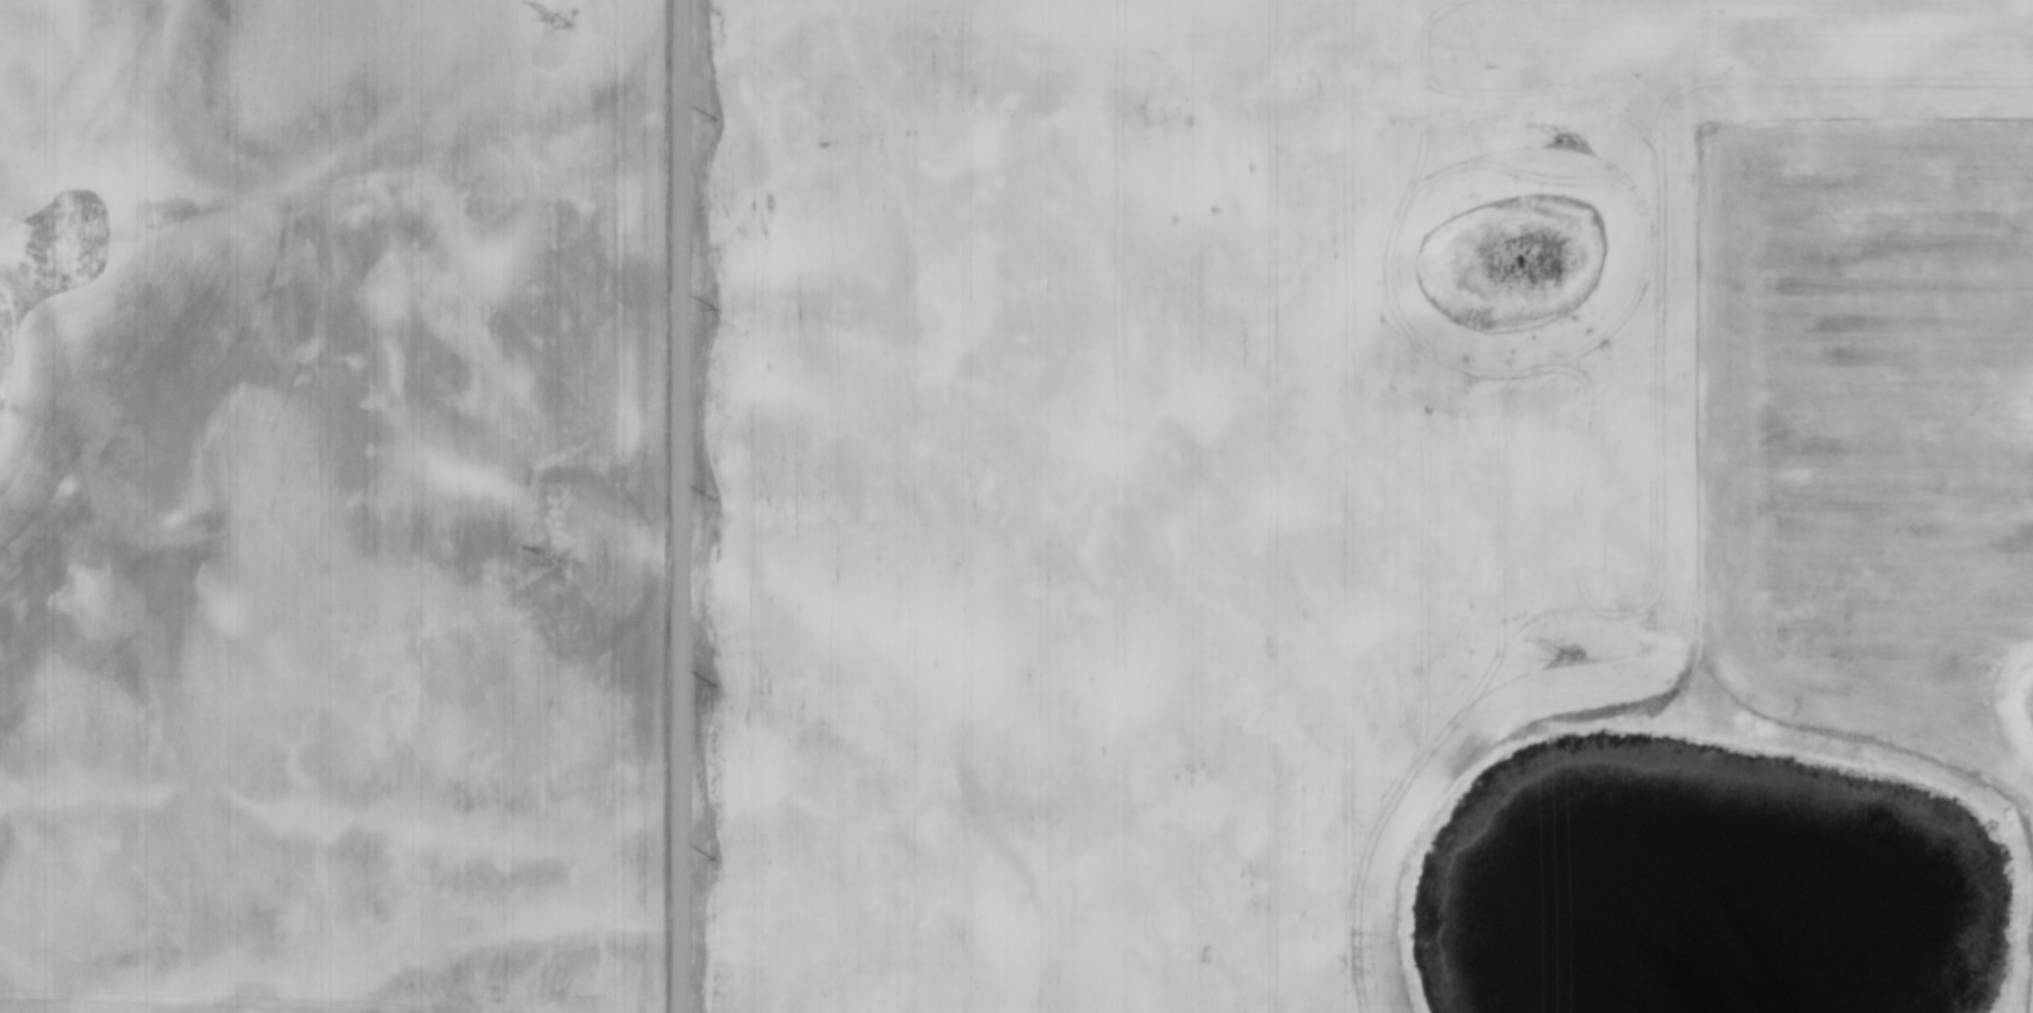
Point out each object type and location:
power tower: (1568, 142)
road: (681, 506)
power tower: (1572, 660)

